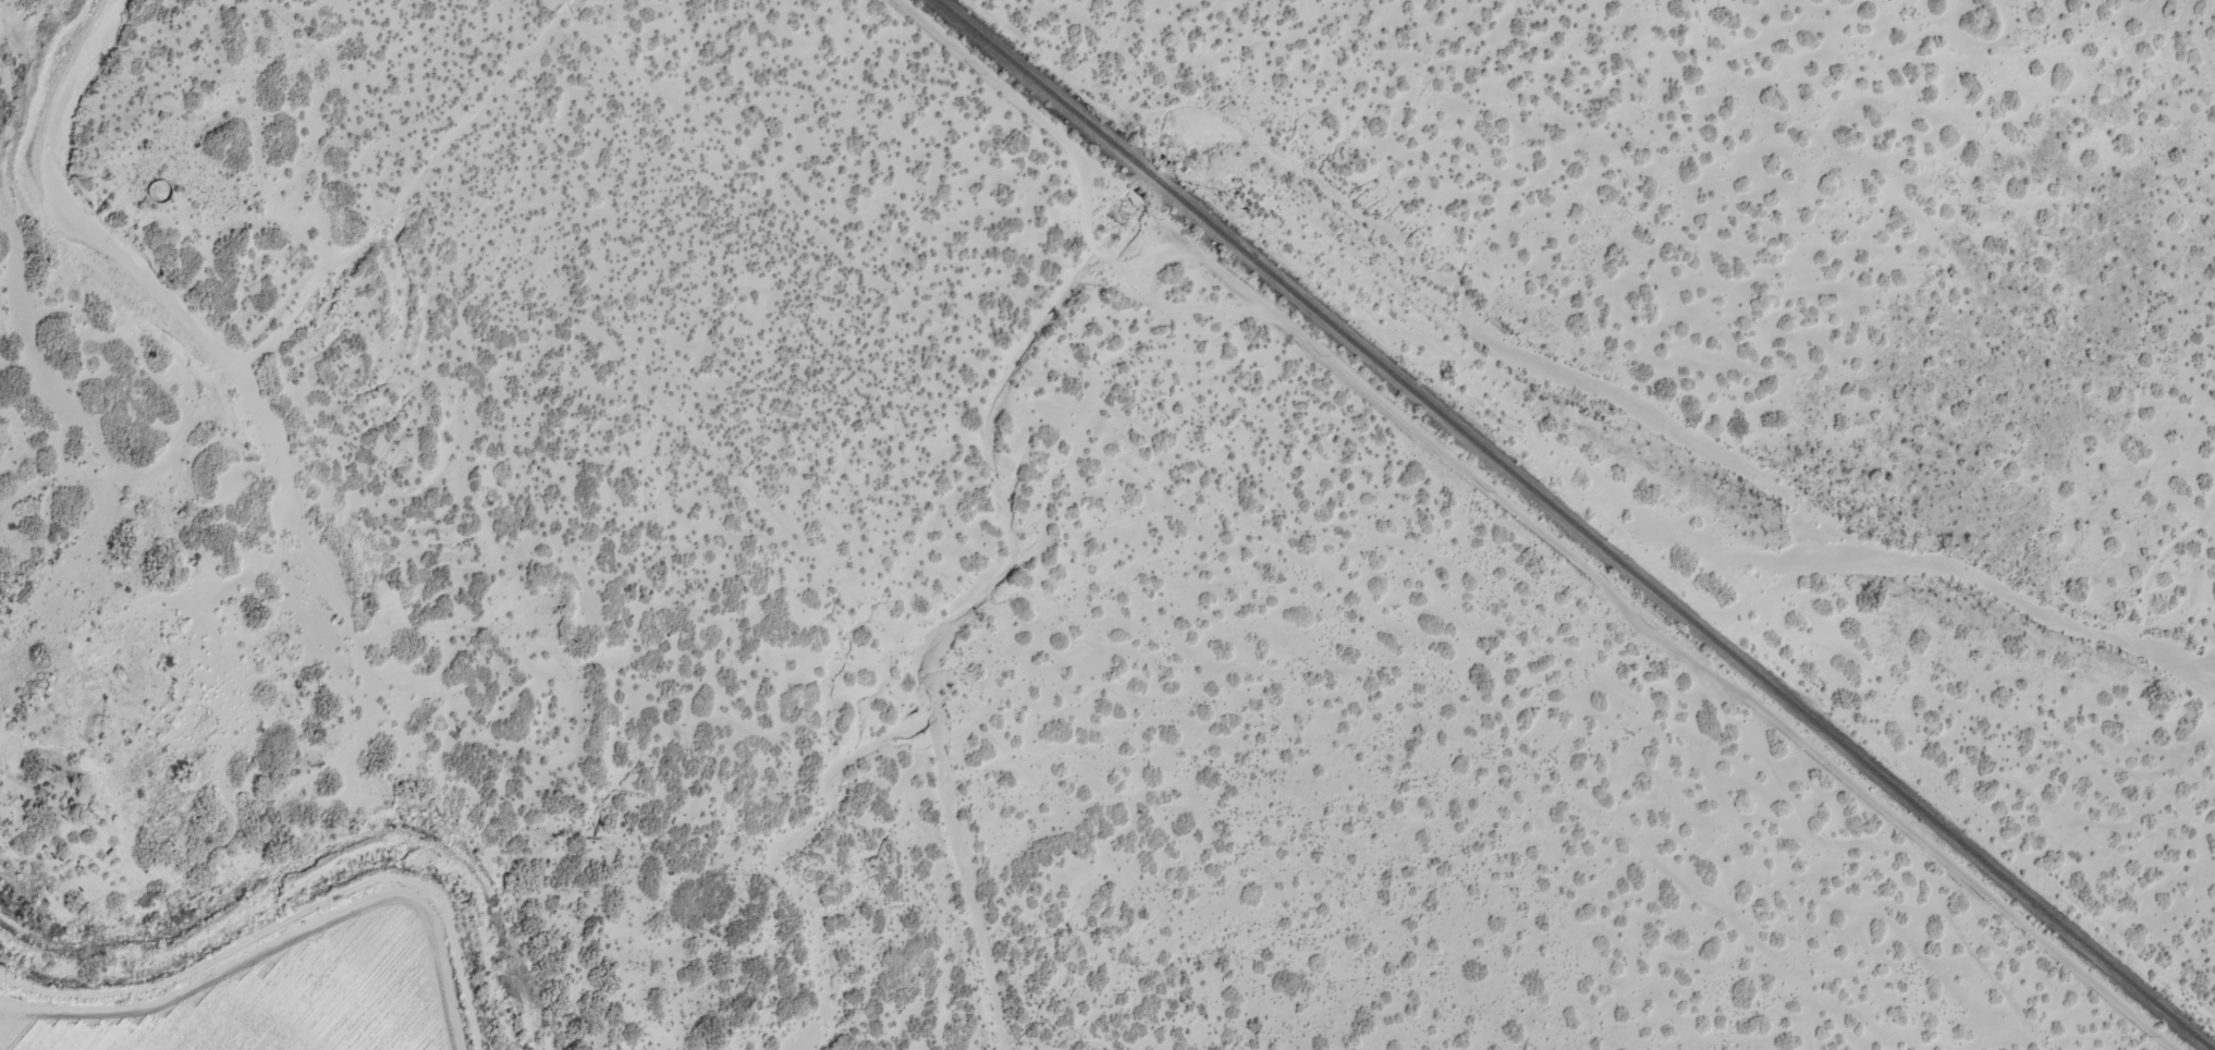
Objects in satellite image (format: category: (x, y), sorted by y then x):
railway: (1216, 523)
railway: (1569, 524)
road: (1530, 527)

